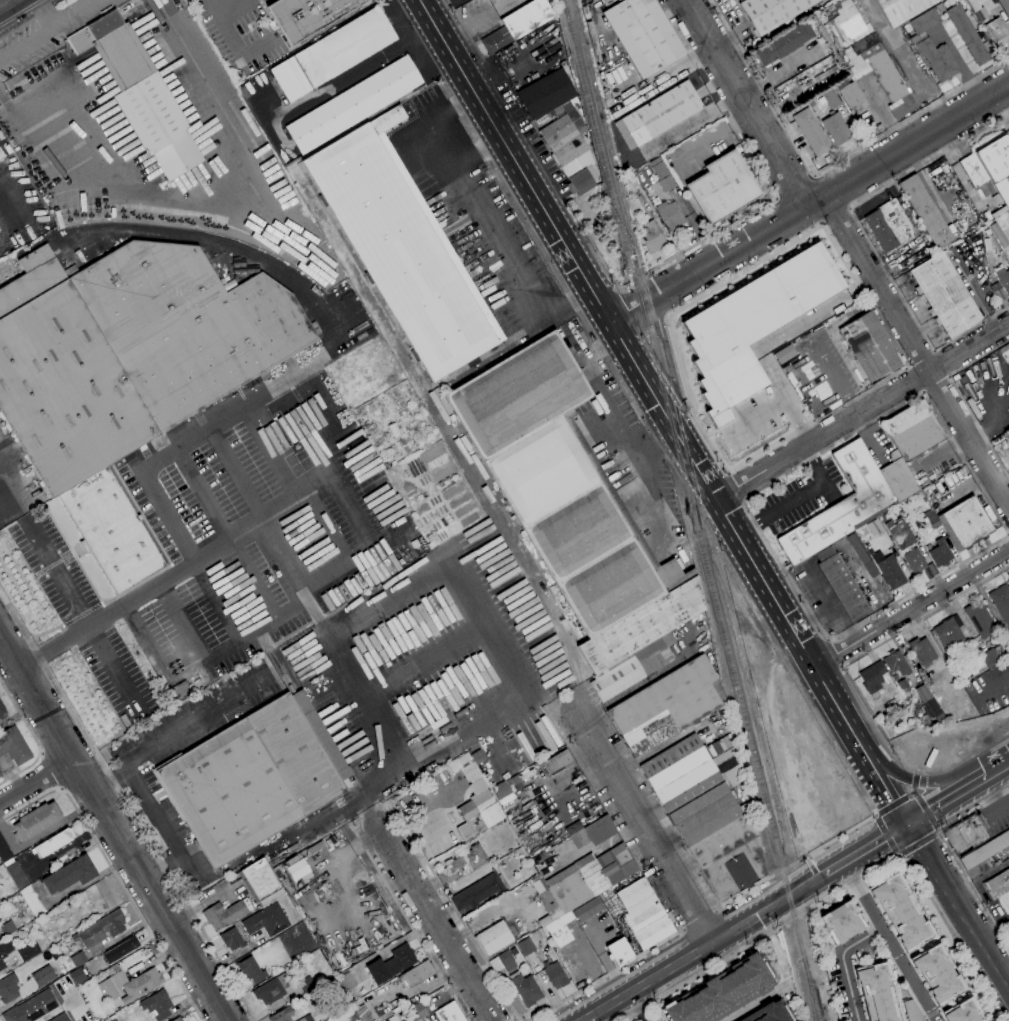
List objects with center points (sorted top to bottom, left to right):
building: (185, 0)
building: (188, 1)
road: (9, 5)
building: (902, 9)
building: (978, 11)
road: (44, 12)
building: (773, 12)
building: (308, 16)
road: (29, 17)
building: (518, 24)
road: (227, 25)
road: (48, 28)
building: (997, 32)
building: (644, 35)
building: (968, 35)
road: (470, 37)
building: (785, 43)
building: (933, 44)
building: (333, 54)
building: (863, 57)
building: (141, 93)
building: (546, 94)
building: (831, 98)
road: (1, 99)
road: (747, 103)
building: (354, 104)
building: (571, 113)
building: (662, 113)
road: (907, 121)
building: (836, 129)
building: (812, 132)
building: (12, 142)
road: (475, 153)
building: (570, 153)
building: (1, 155)
road: (753, 162)
building: (996, 165)
road: (8, 171)
building: (976, 174)
building: (663, 177)
road: (794, 186)
building: (722, 187)
road: (198, 197)
building: (996, 199)
road: (810, 205)
road: (518, 209)
building: (926, 211)
building: (671, 214)
road: (835, 216)
road: (478, 222)
building: (889, 225)
building: (999, 234)
building: (652, 236)
road: (867, 236)
building: (403, 247)
road: (842, 260)
road: (747, 269)
building: (1003, 276)
road: (636, 281)
road: (620, 289)
building: (946, 295)
building: (999, 295)
road: (640, 304)
railway: (640, 305)
road: (811, 314)
road: (667, 316)
building: (752, 326)
road: (617, 333)
building: (871, 347)
road: (916, 351)
road: (934, 351)
road: (921, 358)
road: (940, 363)
road: (765, 364)
road: (909, 366)
building: (127, 371)
road: (949, 376)
road: (916, 378)
road: (935, 382)
road: (602, 390)
road: (923, 391)
road: (684, 396)
road: (916, 397)
road: (961, 397)
road: (791, 408)
road: (243, 409)
road: (863, 413)
road: (755, 416)
road: (656, 421)
road: (816, 421)
railway: (678, 426)
road: (716, 430)
building: (913, 430)
road: (310, 439)
road: (658, 445)
road: (809, 457)
building: (961, 474)
building: (899, 478)
road: (738, 485)
road: (802, 494)
road: (18, 497)
road: (657, 500)
building: (571, 502)
building: (841, 506)
building: (885, 517)
building: (931, 519)
building: (965, 523)
road: (751, 525)
building: (874, 527)
road: (227, 534)
road: (1008, 534)
parking lot: (228, 543)
building: (906, 544)
building: (823, 552)
building: (940, 553)
building: (862, 555)
road: (190, 556)
building: (933, 568)
building: (889, 569)
road: (177, 573)
building: (1008, 573)
building: (1008, 575)
building: (844, 587)
building: (1001, 602)
road: (912, 608)
road: (287, 613)
road: (925, 616)
road: (85, 618)
building: (980, 619)
road: (183, 623)
building: (949, 634)
road: (827, 638)
building: (1008, 642)
building: (922, 651)
road: (832, 652)
building: (993, 656)
building: (897, 663)
road: (840, 666)
building: (628, 668)
building: (872, 677)
building: (903, 684)
building: (927, 702)
building: (668, 705)
building: (1, 710)
road: (840, 712)
road: (873, 723)
road: (34, 737)
road: (158, 742)
building: (14, 746)
road: (965, 759)
building: (557, 762)
road: (998, 770)
road: (51, 771)
road: (917, 771)
building: (0, 774)
building: (254, 777)
road: (914, 779)
road: (913, 780)
road: (976, 784)
road: (38, 785)
building: (503, 790)
railway: (763, 790)
road: (914, 790)
road: (887, 791)
road: (910, 792)
road: (891, 805)
road: (128, 806)
building: (481, 808)
road: (934, 808)
road: (974, 811)
road: (926, 812)
building: (706, 816)
building: (36, 821)
road: (641, 822)
traffic signals: (905, 826)
road: (114, 827)
building: (573, 828)
road: (161, 829)
road: (938, 831)
building: (594, 832)
road: (842, 833)
road: (887, 834)
building: (966, 835)
building: (333, 839)
road: (917, 842)
building: (52, 843)
road: (865, 849)
building: (4, 850)
building: (985, 850)
road: (899, 855)
road: (791, 864)
building: (461, 865)
building: (297, 869)
building: (524, 870)
road: (114, 874)
building: (17, 875)
building: (70, 875)
building: (590, 877)
road: (855, 881)
building: (261, 882)
building: (999, 889)
road: (974, 890)
building: (478, 891)
road: (743, 892)
building: (33, 901)
building: (0, 902)
building: (612, 903)
building: (549, 907)
building: (588, 909)
road: (454, 910)
building: (900, 912)
road: (952, 912)
building: (224, 914)
building: (644, 914)
road: (795, 917)
road: (433, 918)
building: (266, 920)
road: (699, 920)
road: (408, 921)
building: (841, 921)
road: (947, 925)
building: (7, 927)
building: (560, 929)
building: (299, 930)
building: (100, 932)
building: (493, 938)
road: (948, 938)
building: (232, 939)
road: (891, 941)
building: (526, 947)
road: (704, 948)
building: (121, 950)
building: (5, 951)
building: (28, 951)
building: (619, 951)
road: (231, 955)
building: (79, 959)
building: (503, 962)
road: (842, 962)
building: (392, 964)
building: (251, 969)
building: (418, 973)
building: (937, 973)
road: (700, 974)
building: (556, 975)
road: (606, 975)
building: (43, 976)
building: (78, 977)
building: (347, 981)
building: (128, 984)
building: (306, 985)
building: (9, 988)
building: (272, 989)
building: (526, 989)
building: (723, 991)
building: (877, 993)
road: (1008, 994)
railway: (811, 996)
railway: (814, 996)
road: (758, 1002)
building: (157, 1005)
road: (636, 1007)
building: (32, 1008)
building: (415, 1012)
building: (768, 1012)
building: (963, 1012)
building: (449, 1013)
building: (282, 1015)
building: (60, 1018)
building: (113, 1019)
building: (178, 1019)
building: (302, 1019)
building: (387, 1020)

